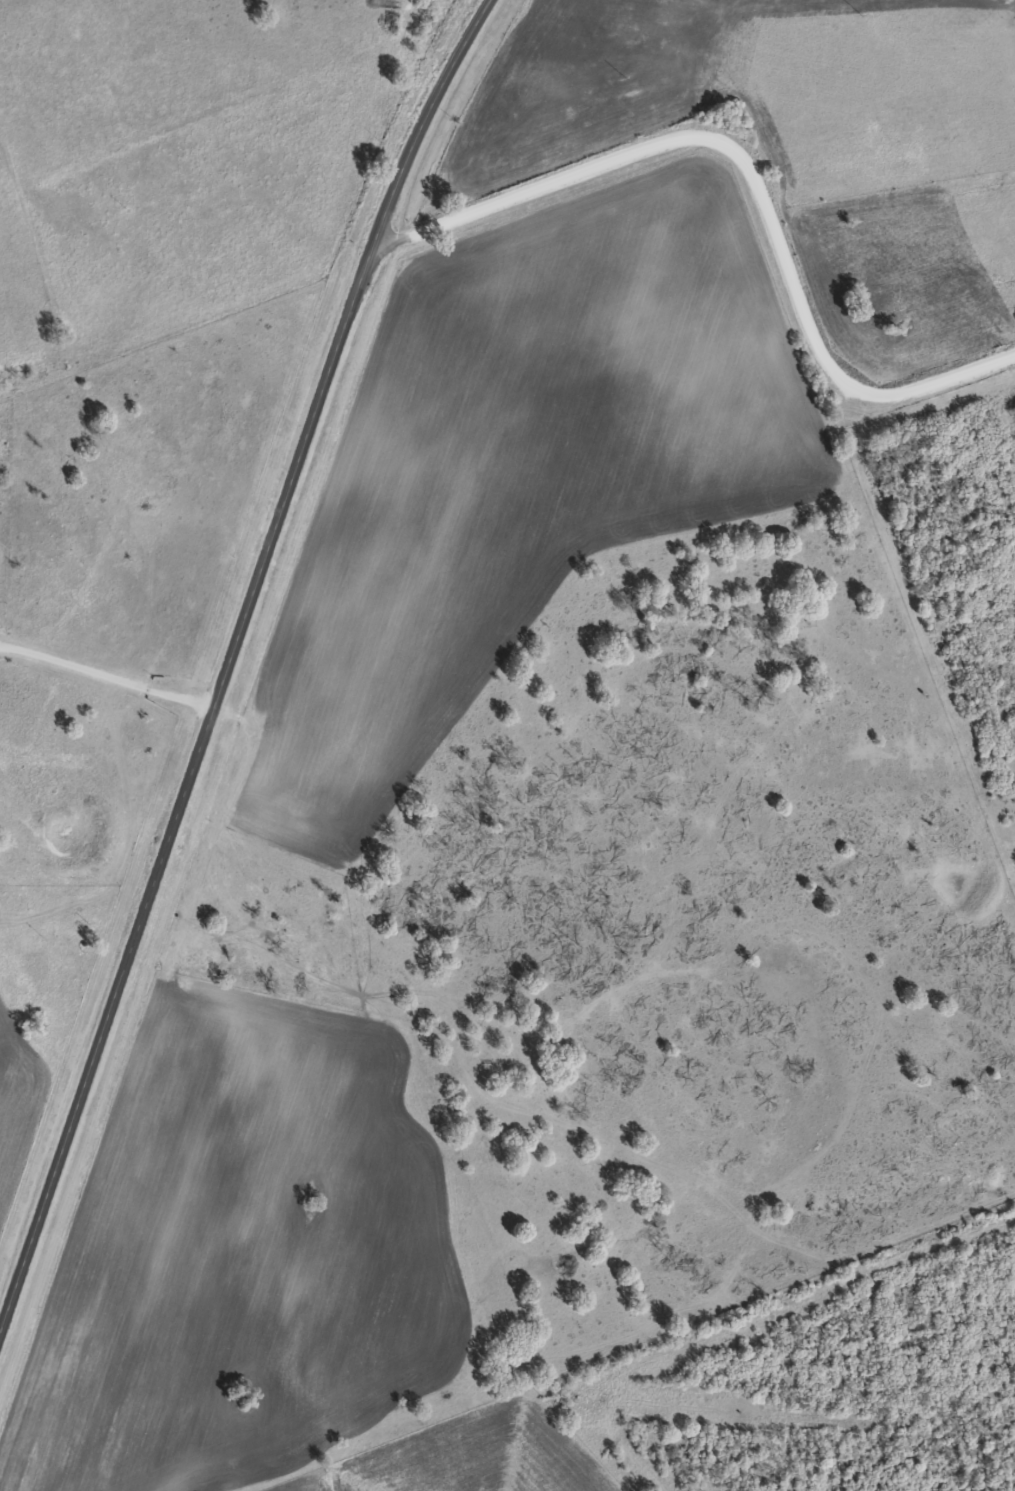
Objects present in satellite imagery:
road: (747, 179)
road: (230, 662)

